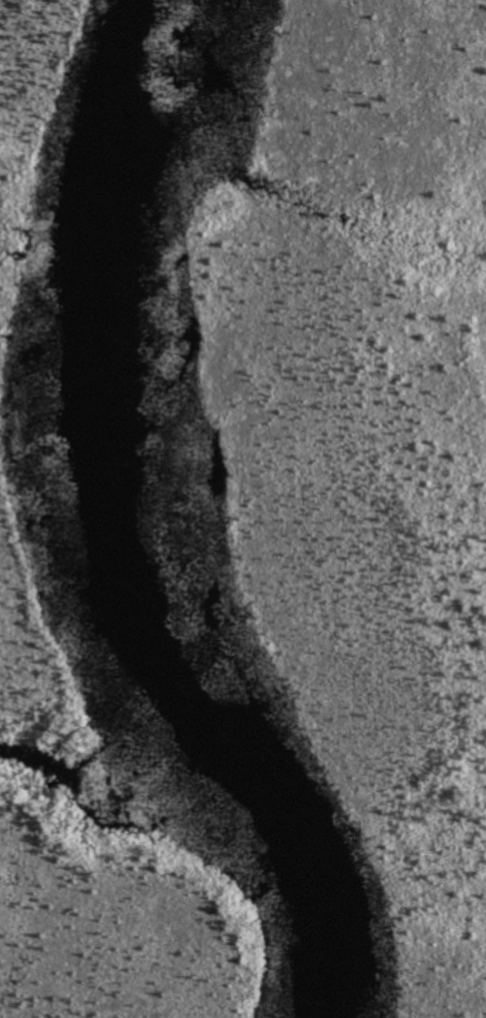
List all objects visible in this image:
river: (128, 531)

